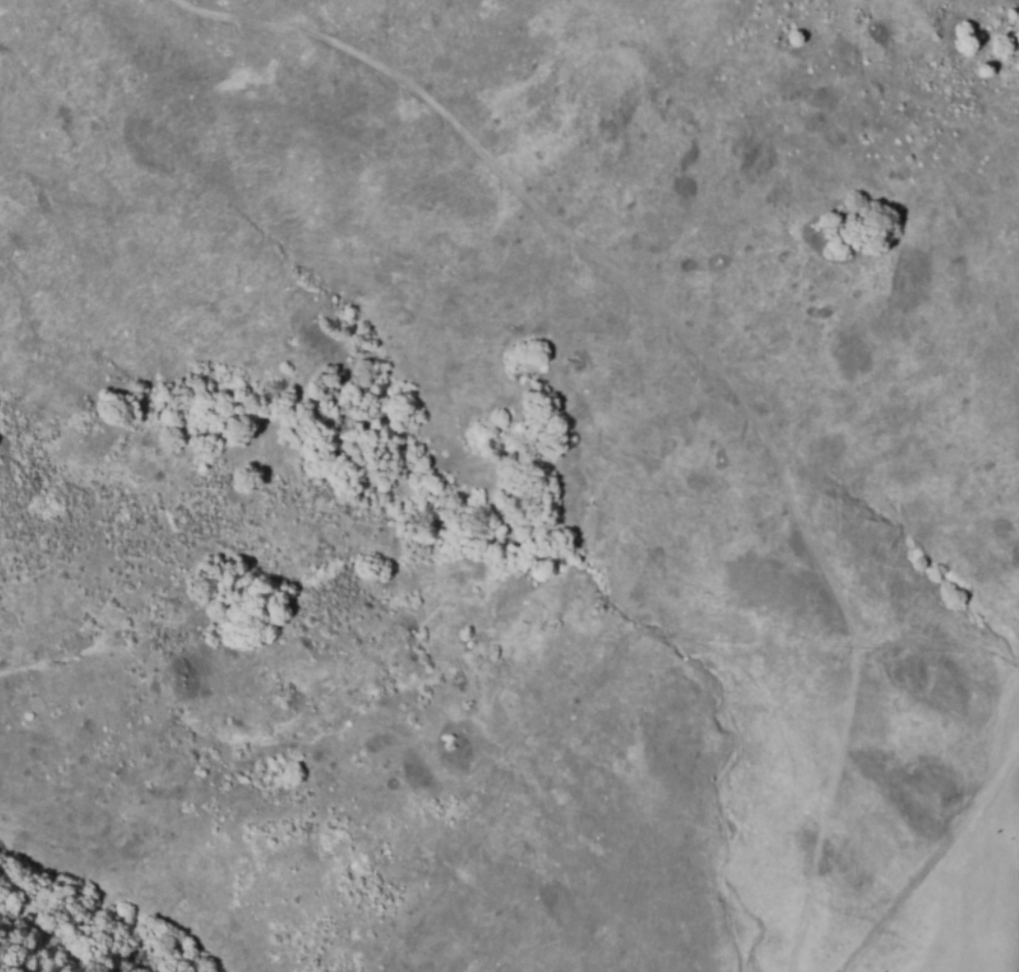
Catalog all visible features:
road: (702, 359)

